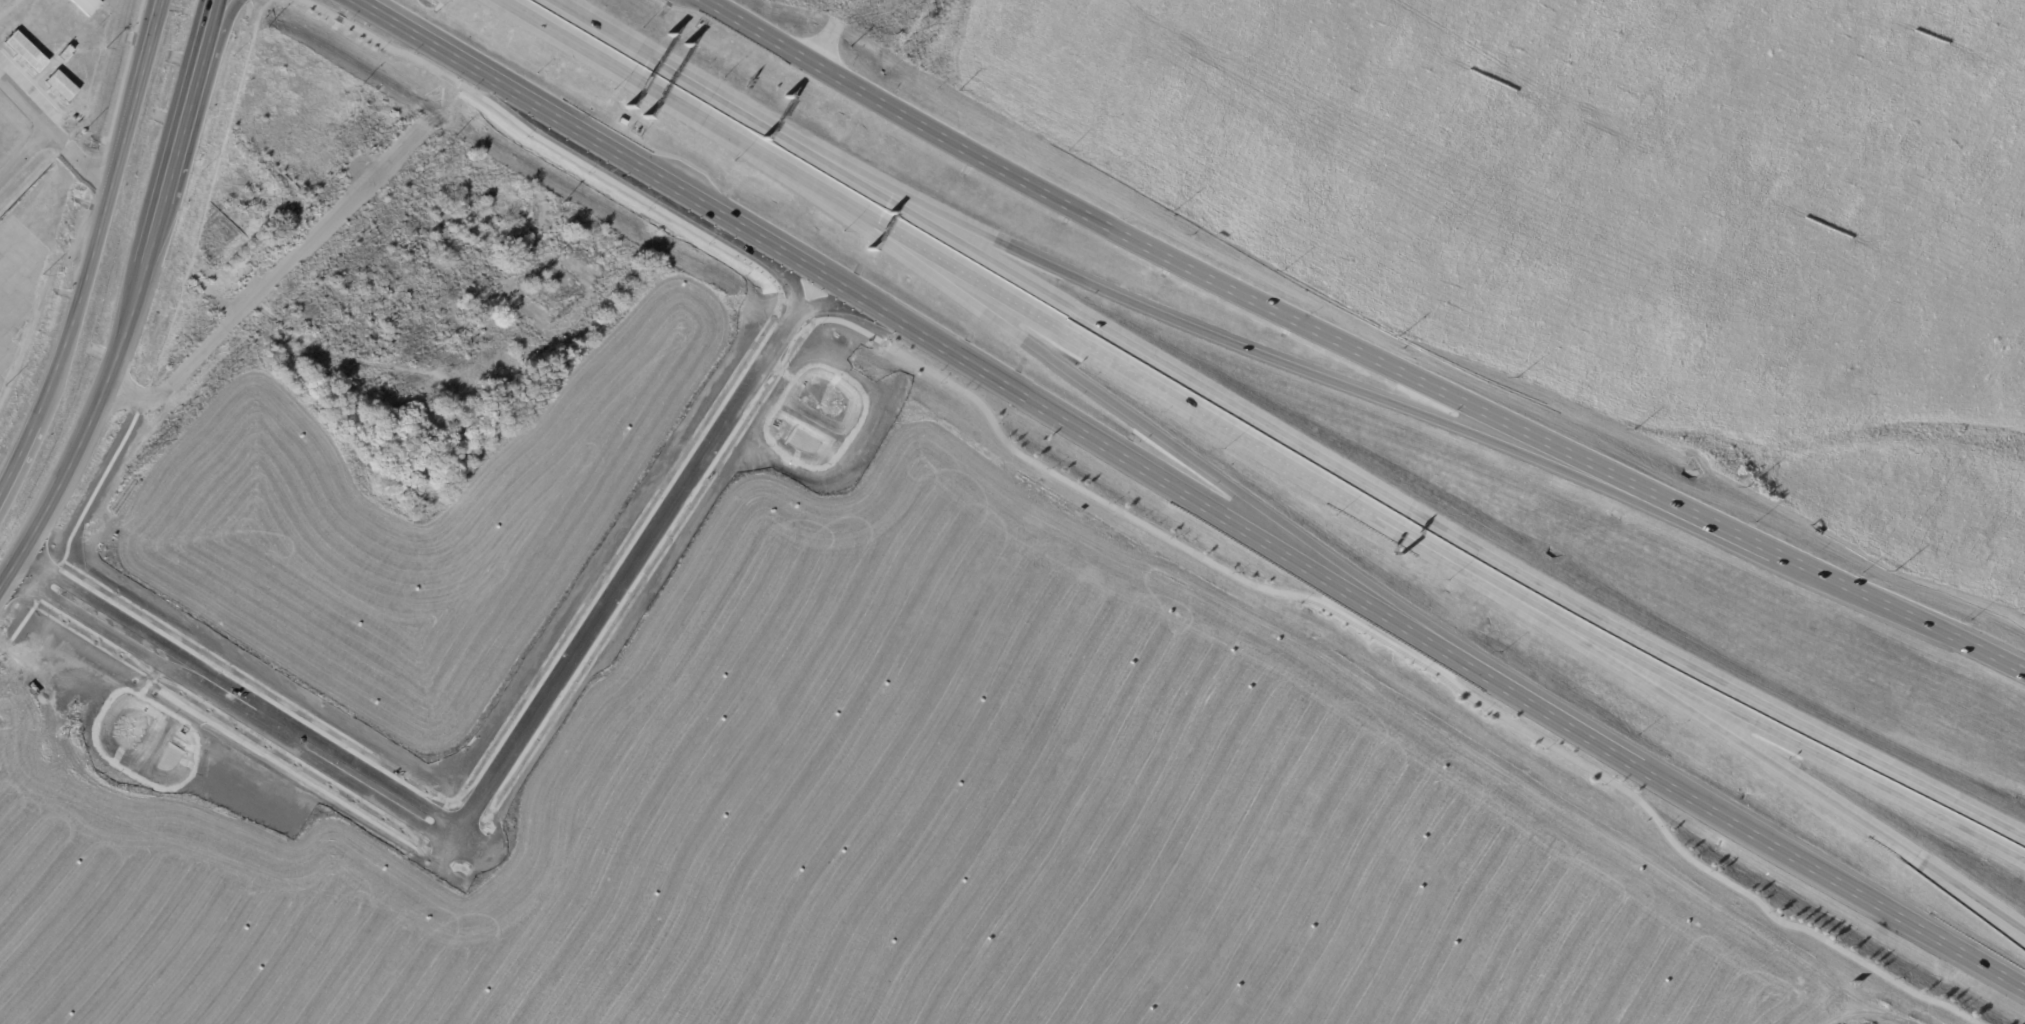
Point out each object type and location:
building: (85, 5)
road: (7, 6)
road: (216, 13)
road: (209, 14)
building: (23, 50)
road: (459, 57)
road: (680, 73)
building: (59, 84)
road: (644, 84)
road: (135, 91)
road: (183, 114)
road: (46, 133)
road: (78, 157)
road: (665, 179)
road: (153, 232)
road: (797, 257)
road: (1159, 257)
road: (788, 275)
road: (252, 301)
road: (833, 302)
road: (75, 303)
road: (1213, 335)
road: (1081, 342)
road: (1021, 391)
road: (1137, 418)
road: (82, 427)
road: (15, 457)
road: (1408, 505)
road: (1138, 521)
road: (1704, 521)
road: (1455, 562)
road: (626, 571)
road: (1354, 592)
road: (1898, 614)
road: (241, 688)
road: (230, 706)
road: (1563, 719)
road: (1780, 734)
road: (1780, 769)
road: (1792, 852)
road: (1984, 960)

